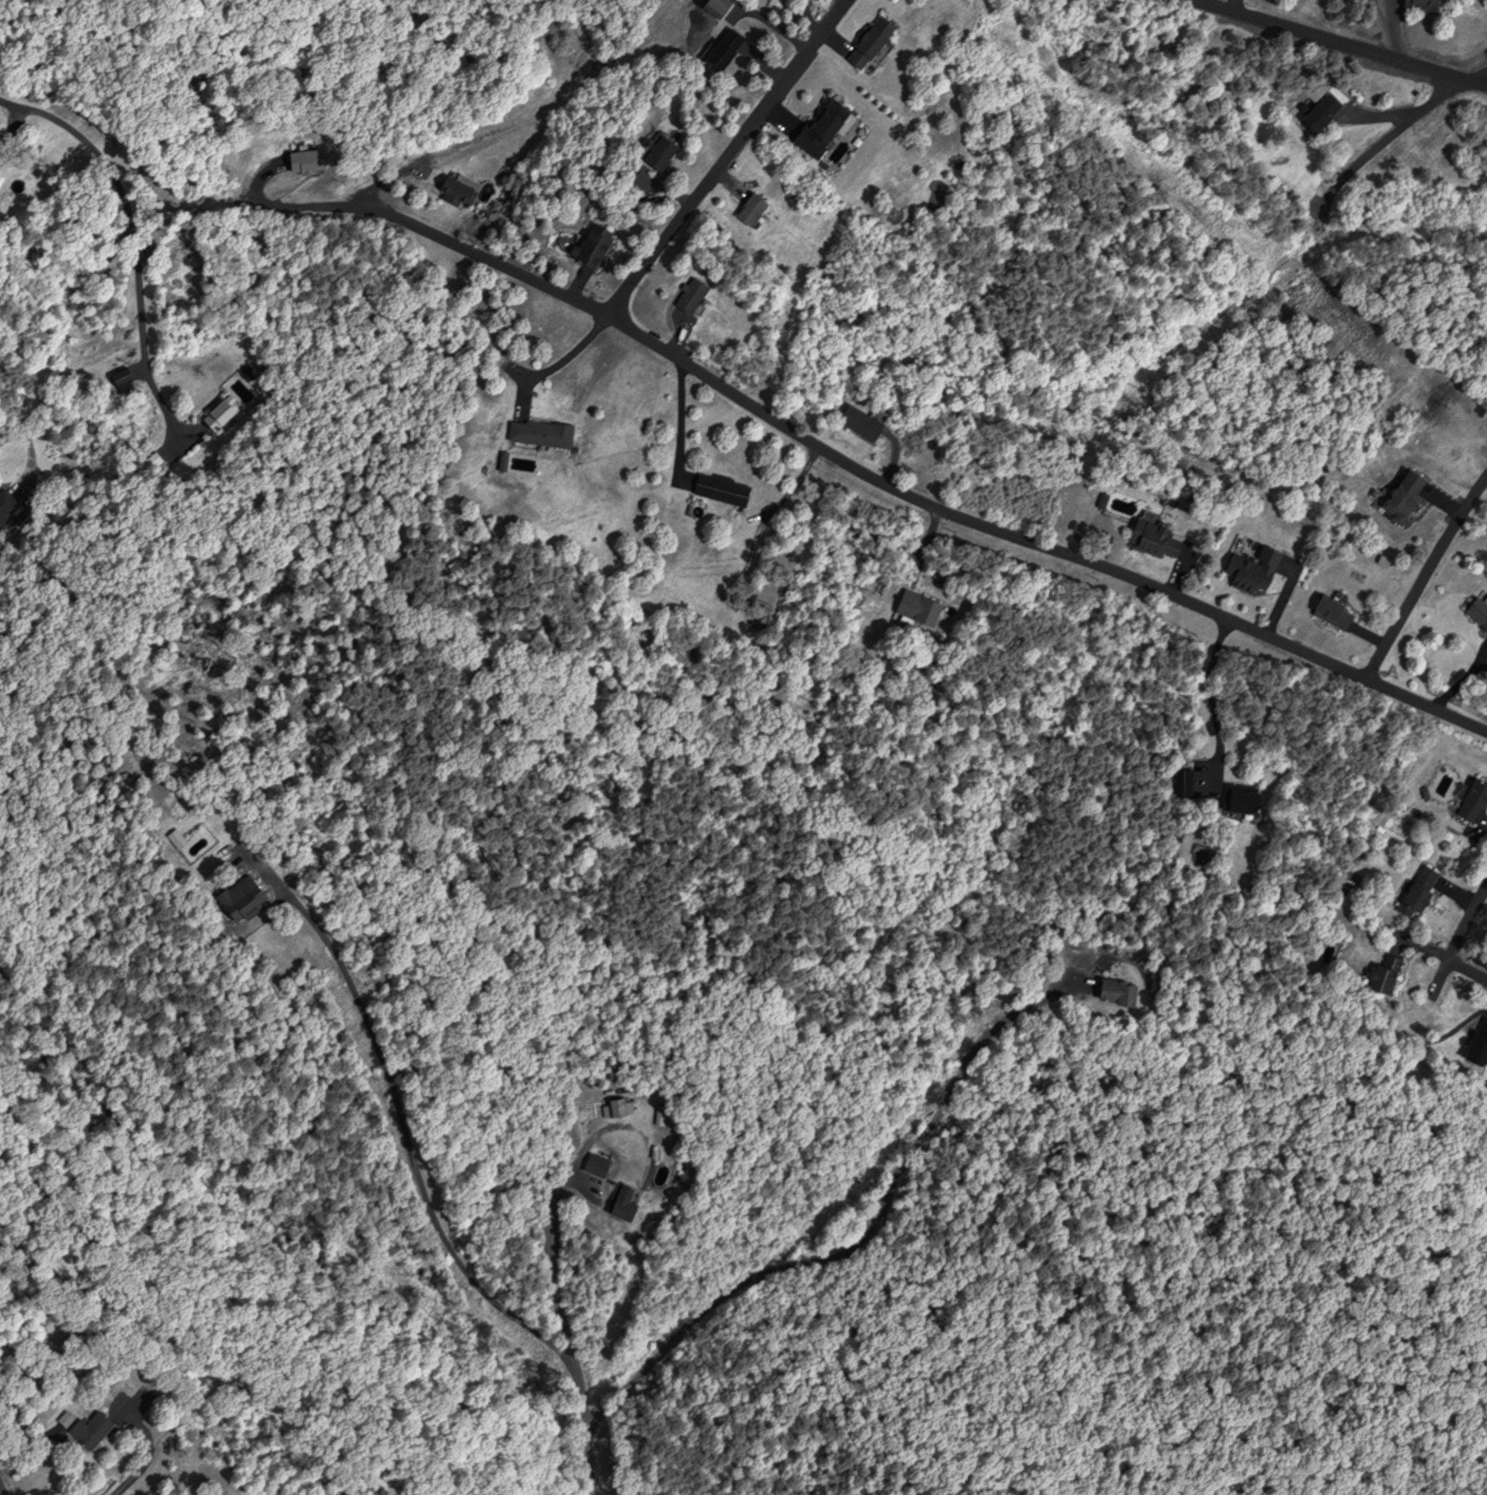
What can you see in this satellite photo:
building: (1416, 3)
building: (866, 41)
road: (1342, 41)
building: (720, 49)
road: (1479, 77)
building: (1317, 110)
building: (818, 123)
road: (1381, 139)
building: (655, 150)
road: (724, 156)
building: (458, 190)
building: (747, 208)
road: (135, 240)
building: (589, 246)
building: (686, 294)
building: (120, 383)
building: (216, 415)
building: (857, 422)
building: (537, 433)
road: (32, 453)
building: (717, 488)
road: (897, 489)
building: (1399, 495)
building: (2, 520)
building: (1153, 539)
building: (1249, 569)
road: (1421, 572)
building: (914, 607)
building: (1328, 611)
building: (1476, 612)
building: (1180, 781)
building: (1471, 799)
building: (1235, 800)
building: (1414, 890)
building: (236, 898)
road: (1460, 935)
road: (1423, 946)
building: (1380, 971)
building: (1114, 989)
building: (1476, 1039)
building: (616, 1106)
road: (402, 1131)
building: (593, 1164)
road: (557, 1193)
building: (620, 1202)
road: (861, 1239)
building: (87, 1428)
road: (587, 1428)
road: (1, 1491)

